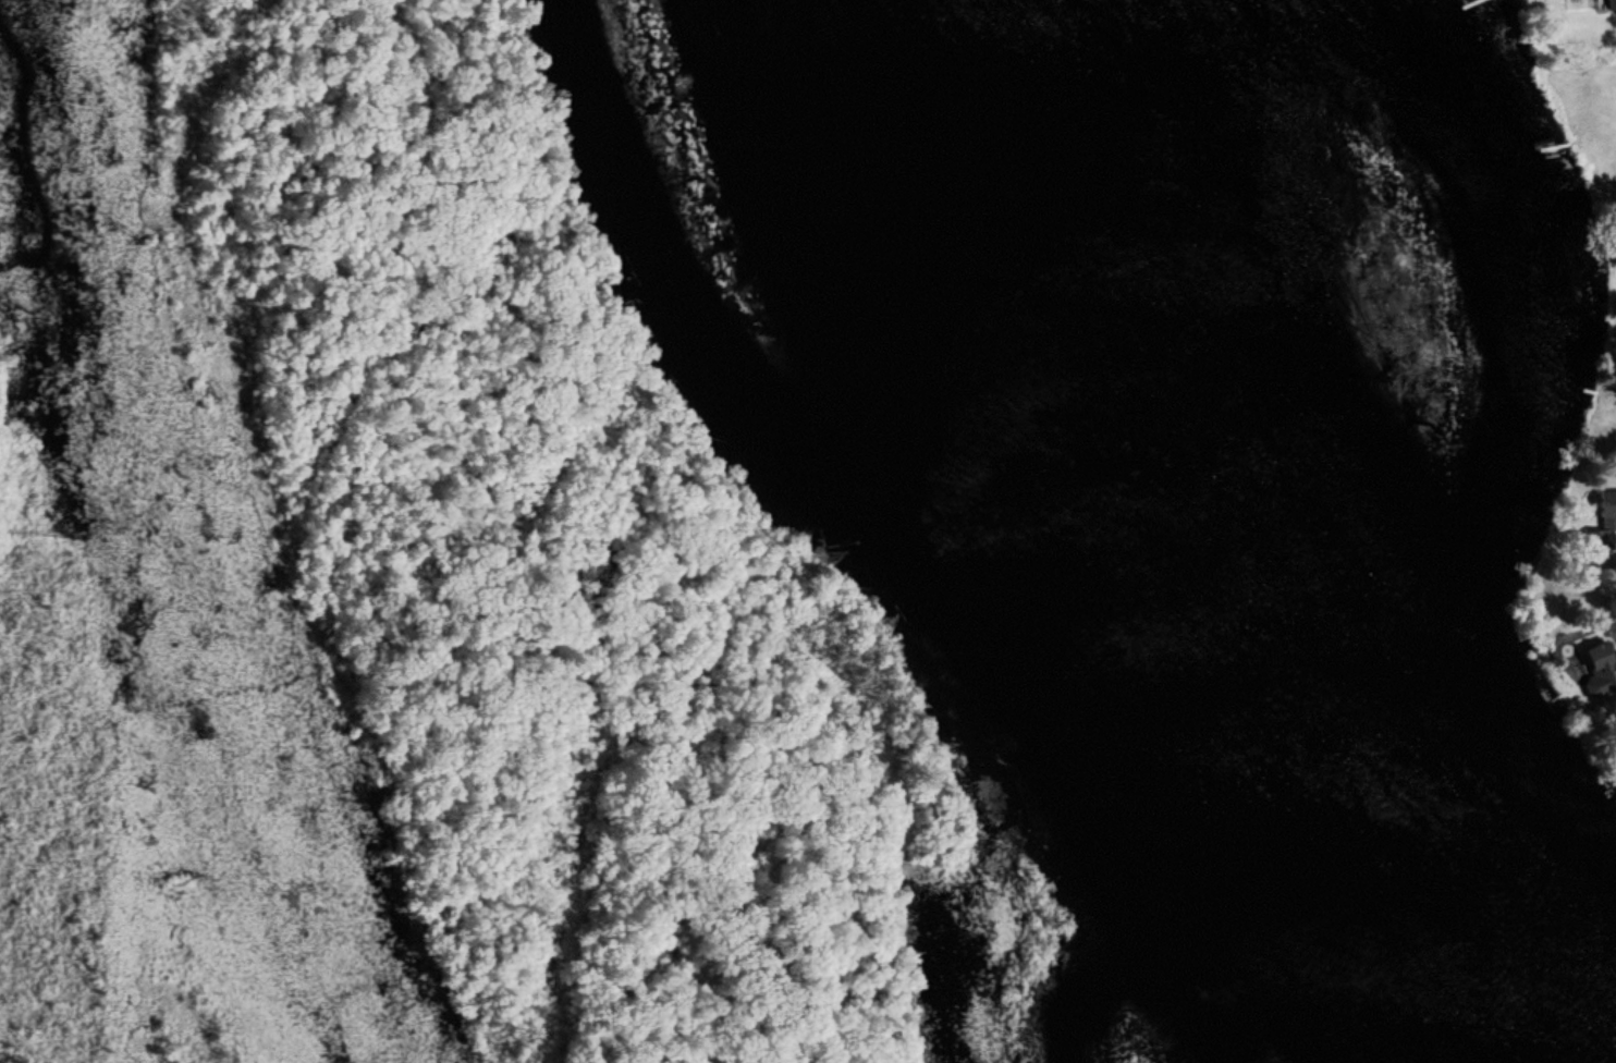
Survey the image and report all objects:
building: (1603, 0)
building: (1599, 513)
river: (158, 548)
river: (1253, 551)
building: (1597, 656)

